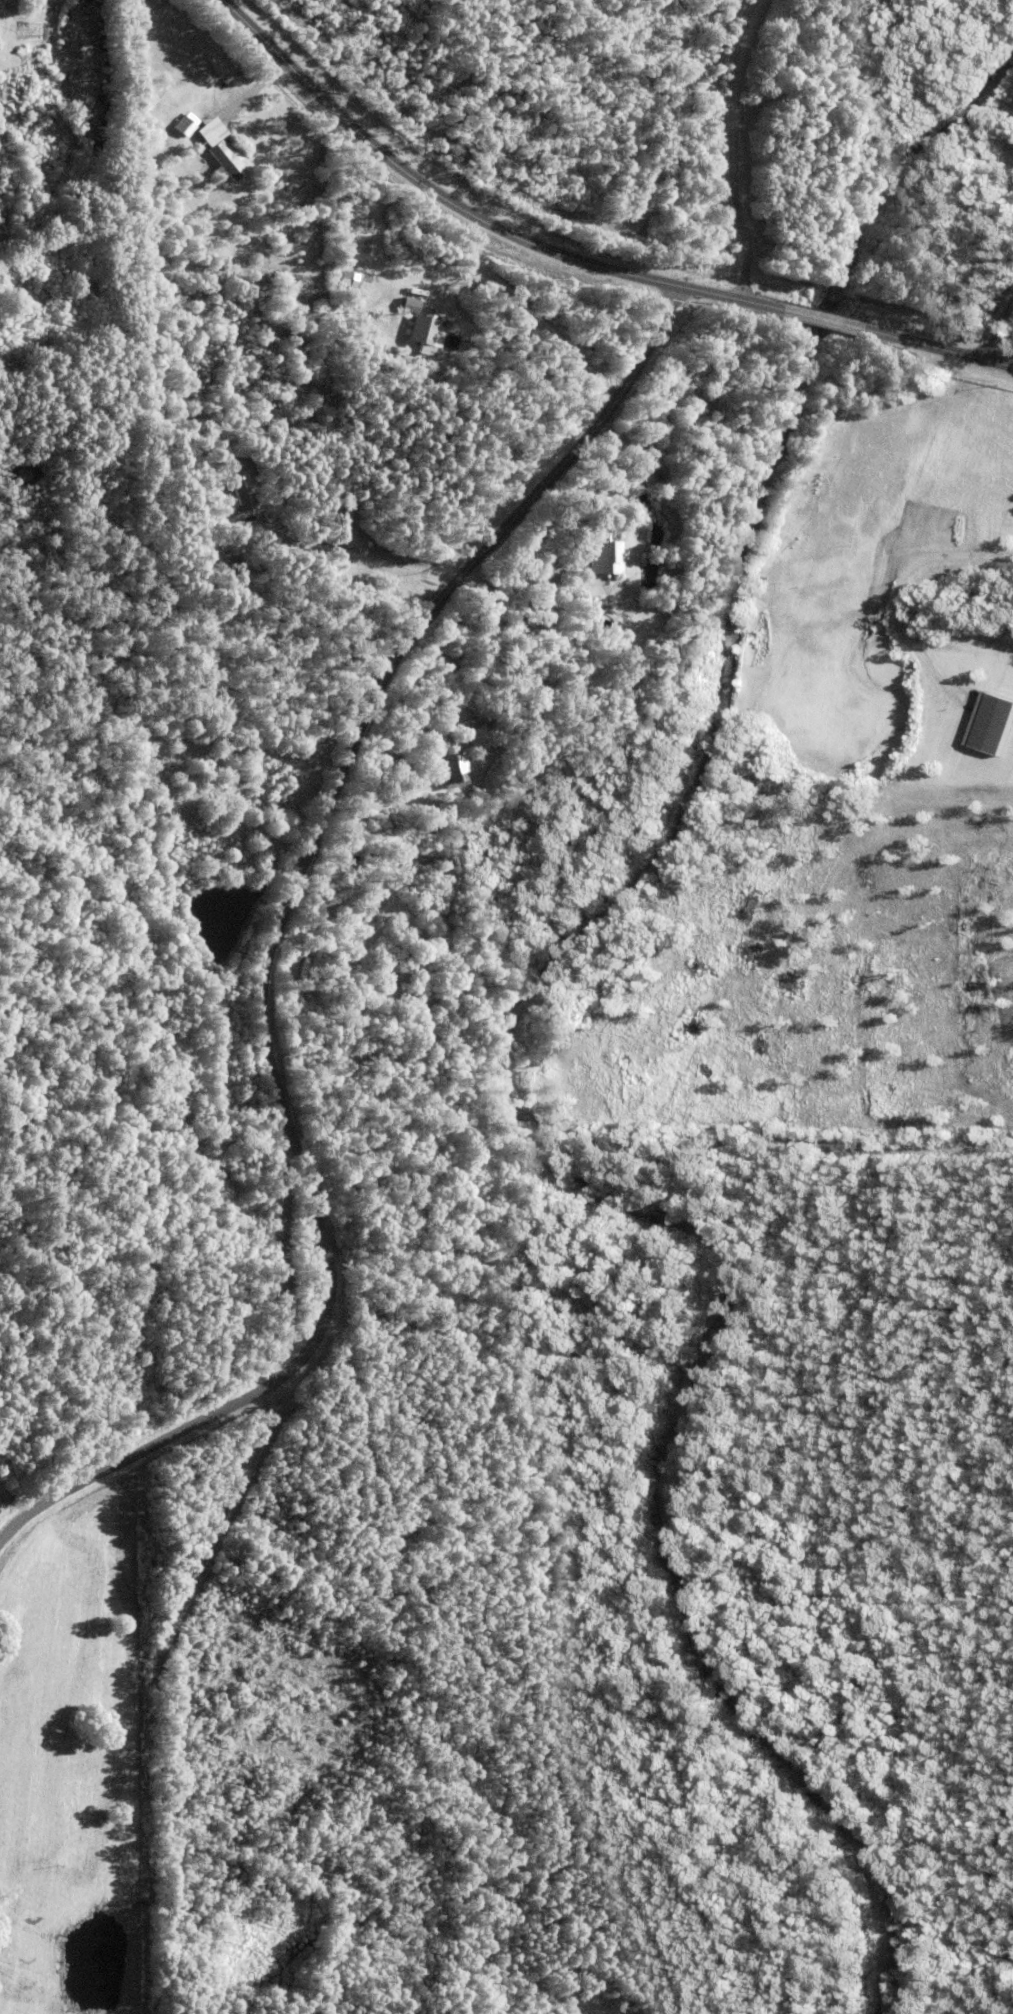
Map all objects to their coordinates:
building: (197, 85)
road: (252, 88)
building: (199, 115)
building: (185, 127)
building: (194, 133)
building: (201, 136)
building: (205, 141)
building: (226, 163)
road: (747, 228)
road: (579, 261)
building: (86, 289)
building: (407, 300)
road: (529, 315)
road: (997, 327)
building: (422, 332)
building: (376, 345)
building: (242, 485)
building: (1008, 517)
building: (987, 523)
building: (595, 543)
road: (364, 561)
building: (236, 578)
road: (900, 578)
road: (534, 587)
building: (452, 615)
building: (572, 659)
building: (534, 678)
building: (502, 703)
building: (988, 724)
building: (448, 767)
building: (428, 816)
building: (242, 827)
building: (417, 894)
road: (266, 945)
building: (404, 965)
building: (423, 992)
building: (379, 1000)

